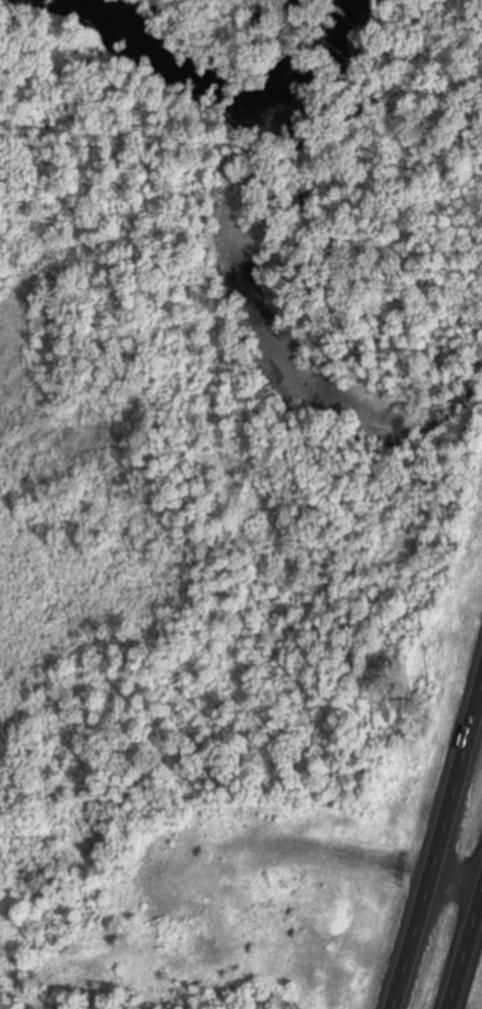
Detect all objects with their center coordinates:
river: (334, 49)
river: (183, 53)
road: (437, 844)
road: (455, 879)
road: (465, 951)

